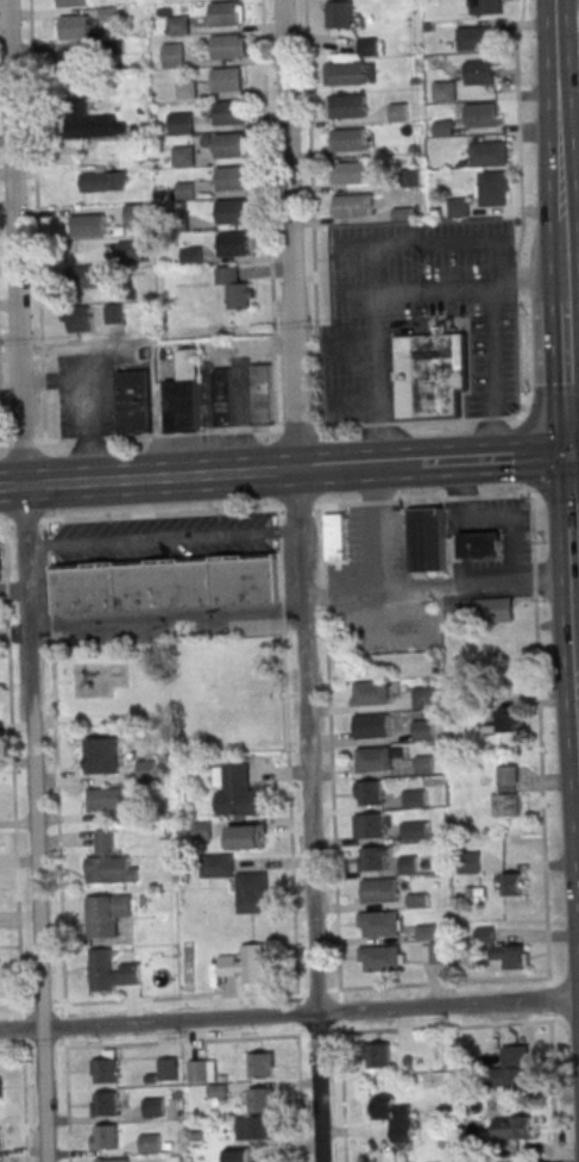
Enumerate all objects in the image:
building: (70, 2)
building: (484, 6)
building: (225, 13)
building: (336, 14)
building: (177, 24)
building: (73, 26)
building: (474, 38)
building: (227, 46)
building: (366, 46)
building: (172, 55)
building: (71, 60)
building: (344, 73)
building: (227, 79)
building: (462, 81)
road: (554, 88)
building: (185, 89)
building: (347, 105)
building: (229, 112)
building: (484, 114)
building: (89, 121)
building: (180, 123)
building: (350, 139)
building: (228, 145)
building: (487, 154)
building: (182, 156)
building: (348, 171)
road: (568, 176)
building: (231, 177)
building: (105, 181)
building: (492, 188)
building: (183, 190)
building: (351, 206)
building: (457, 207)
building: (231, 211)
building: (136, 214)
road: (36, 220)
building: (87, 225)
road: (569, 235)
road: (560, 237)
road: (15, 240)
road: (436, 242)
building: (233, 243)
building: (127, 250)
building: (190, 255)
road: (569, 271)
building: (93, 275)
road: (530, 281)
building: (233, 288)
road: (435, 292)
building: (113, 313)
building: (76, 319)
road: (571, 354)
building: (429, 375)
road: (564, 375)
building: (184, 394)
building: (260, 394)
parking lot: (87, 395)
building: (221, 396)
building: (133, 400)
road: (259, 429)
road: (573, 454)
traffic signals: (567, 455)
road: (493, 458)
road: (357, 466)
road: (147, 477)
road: (289, 507)
road: (489, 516)
road: (568, 519)
road: (574, 527)
building: (334, 536)
road: (162, 539)
building: (426, 539)
building: (478, 544)
road: (378, 570)
building: (0, 579)
road: (298, 581)
building: (164, 582)
road: (474, 585)
road: (574, 585)
road: (13, 592)
building: (490, 610)
road: (165, 618)
road: (572, 621)
road: (574, 669)
road: (577, 681)
park: (176, 689)
building: (371, 692)
building: (422, 696)
building: (502, 721)
building: (372, 725)
building: (422, 730)
road: (539, 735)
road: (577, 738)
building: (100, 755)
building: (373, 757)
building: (422, 764)
building: (145, 769)
road: (12, 774)
building: (239, 792)
building: (367, 792)
building: (506, 793)
building: (103, 799)
building: (413, 799)
road: (33, 821)
building: (370, 824)
building: (201, 830)
building: (414, 830)
building: (246, 835)
building: (371, 857)
building: (468, 862)
building: (215, 864)
building: (407, 864)
building: (103, 867)
building: (252, 882)
building: (510, 883)
building: (378, 888)
building: (107, 912)
building: (380, 922)
building: (426, 931)
building: (482, 935)
building: (432, 952)
building: (511, 955)
building: (382, 957)
building: (239, 964)
building: (109, 970)
road: (289, 1016)
road: (402, 1029)
road: (187, 1041)
building: (376, 1055)
building: (260, 1064)
building: (105, 1068)
building: (165, 1068)
building: (512, 1069)
building: (201, 1070)
road: (552, 1092)
road: (24, 1094)
building: (260, 1097)
building: (103, 1104)
building: (152, 1107)
building: (399, 1120)
building: (254, 1127)
building: (510, 1127)
building: (103, 1136)
building: (149, 1143)
building: (240, 1155)
building: (112, 1160)

